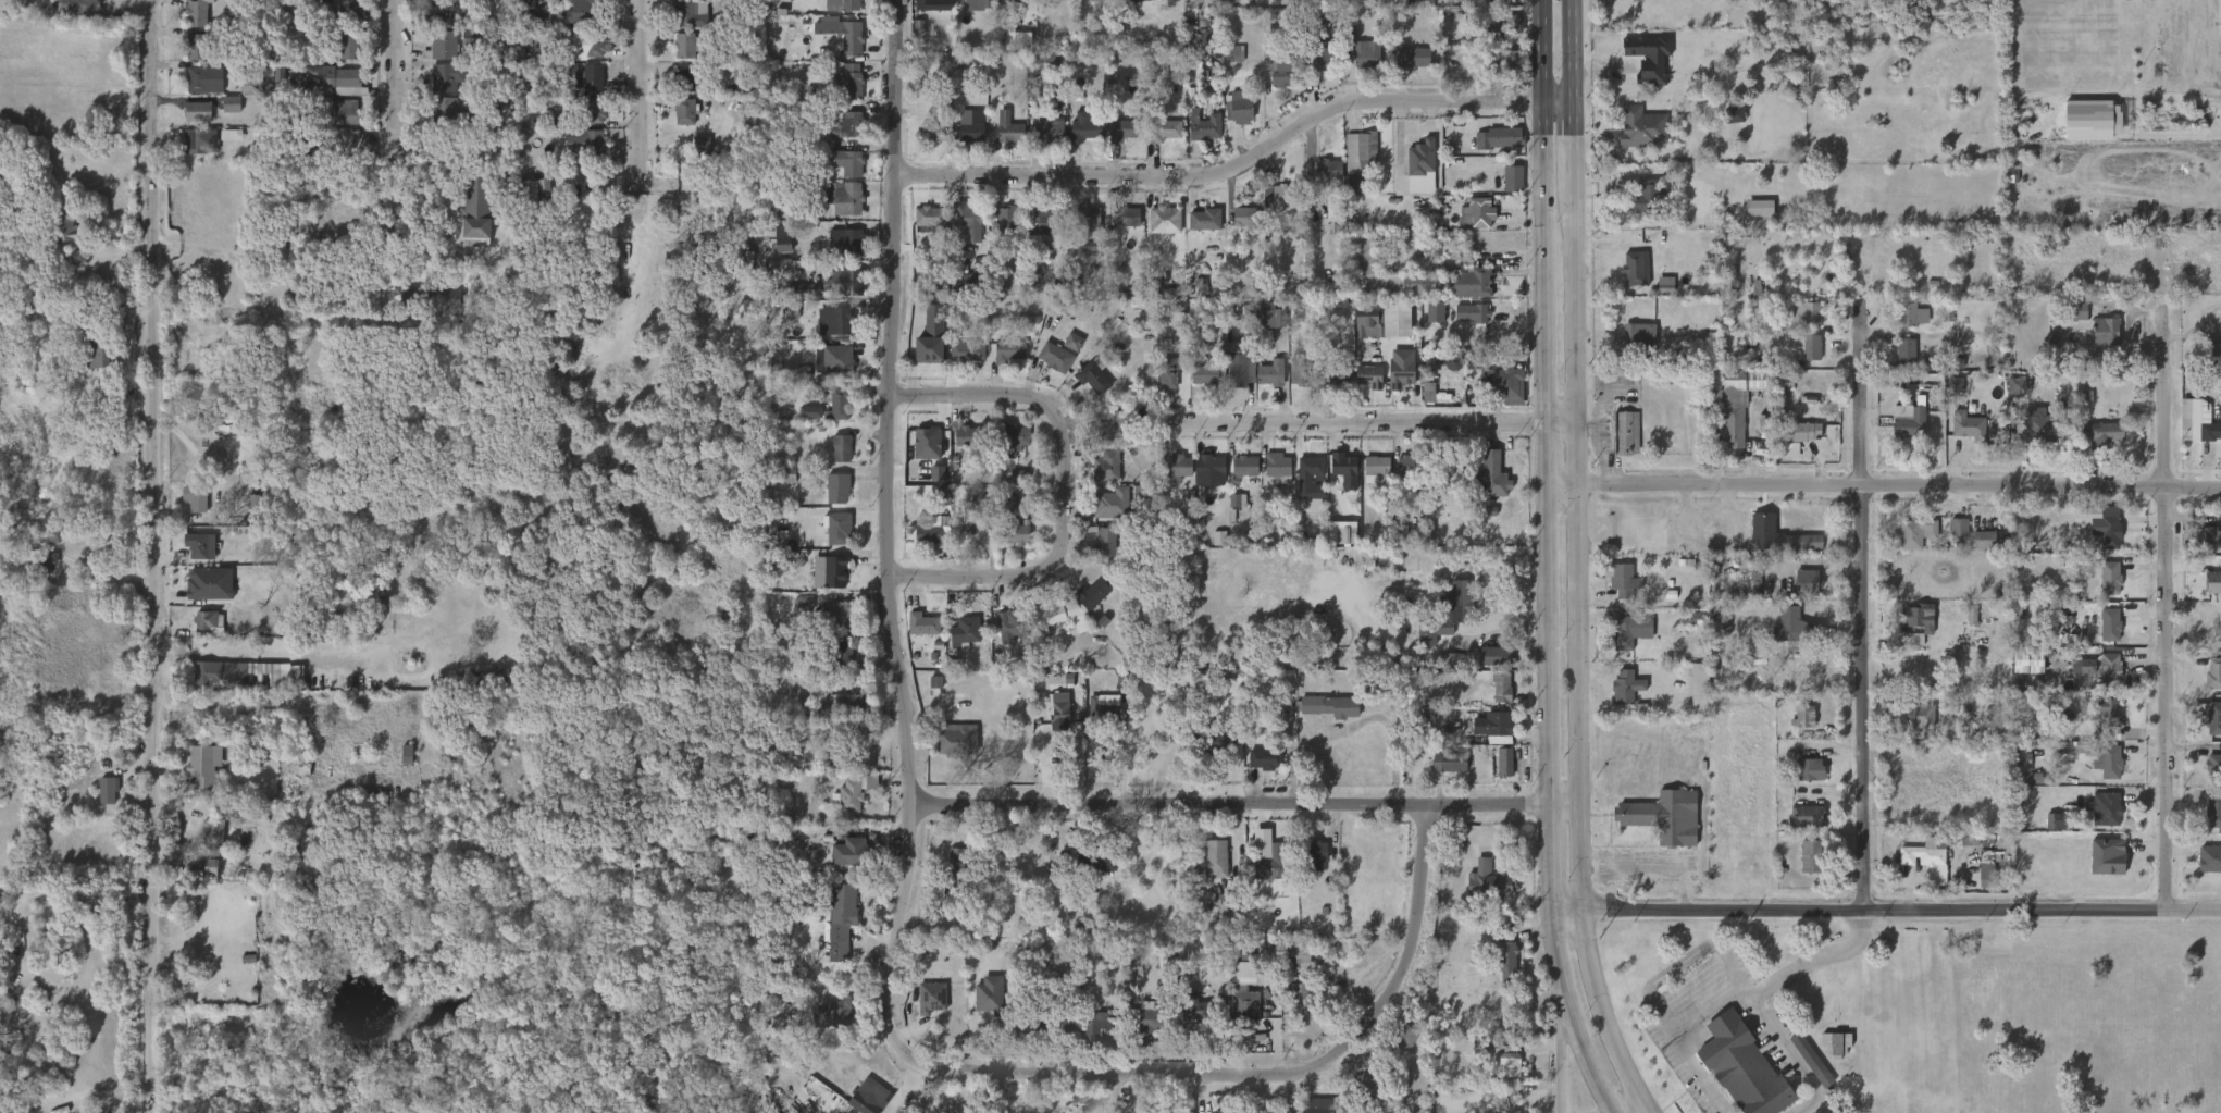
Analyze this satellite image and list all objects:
building: (459, 0)
building: (1138, 0)
building: (433, 2)
building: (1473, 2)
building: (978, 3)
building: (841, 4)
building: (1025, 4)
building: (935, 5)
building: (1094, 5)
building: (76, 8)
building: (724, 10)
building: (345, 11)
building: (587, 12)
building: (194, 13)
building: (690, 14)
building: (2218, 18)
building: (441, 22)
building: (683, 24)
building: (535, 26)
building: (556, 26)
building: (1504, 26)
building: (481, 37)
building: (851, 39)
building: (443, 44)
building: (592, 44)
building: (686, 44)
building: (350, 46)
building: (197, 47)
road: (2191, 50)
road: (1573, 51)
building: (1320, 54)
building: (679, 55)
building: (1367, 55)
building: (189, 58)
building: (343, 58)
building: (437, 58)
building: (591, 58)
building: (1410, 58)
building: (2219, 60)
building: (1507, 62)
building: (1230, 64)
road: (393, 65)
building: (1406, 67)
building: (1641, 67)
building: (1315, 71)
building: (1282, 72)
building: (586, 76)
building: (442, 77)
building: (692, 78)
building: (207, 79)
building: (339, 79)
building: (848, 79)
building: (274, 83)
building: (1275, 84)
building: (330, 88)
building: (679, 88)
building: (199, 90)
building: (843, 90)
road: (636, 91)
building: (1242, 108)
building: (596, 110)
building: (685, 110)
building: (346, 111)
building: (199, 112)
building: (442, 113)
building: (1234, 118)
building: (840, 119)
building: (587, 121)
building: (191, 122)
building: (679, 122)
building: (339, 123)
building: (1727, 125)
building: (1084, 127)
building: (1204, 127)
building: (1640, 127)
building: (1009, 129)
building: (1124, 129)
building: (1165, 131)
building: (931, 133)
building: (1050, 133)
building: (969, 134)
building: (1509, 136)
building: (1003, 139)
building: (1114, 140)
building: (1158, 140)
building: (201, 141)
building: (926, 141)
building: (965, 143)
building: (1043, 143)
building: (586, 145)
road: (1574, 147)
building: (1492, 148)
building: (194, 152)
building: (695, 156)
building: (1357, 158)
building: (846, 161)
road: (1244, 166)
building: (1420, 166)
building: (1327, 170)
building: (843, 173)
building: (1509, 175)
building: (1322, 181)
building: (395, 187)
building: (532, 190)
building: (1282, 194)
building: (847, 198)
building: (1645, 198)
building: (1274, 205)
building: (839, 208)
building: (474, 210)
building: (1479, 210)
building: (1120, 211)
building: (1087, 215)
building: (930, 217)
building: (1246, 217)
building: (1007, 218)
building: (1165, 218)
building: (1205, 218)
building: (1752, 218)
building: (1045, 220)
building: (965, 221)
building: (1472, 223)
building: (923, 225)
building: (1000, 227)
building: (1117, 227)
building: (1238, 227)
building: (61, 228)
building: (1158, 230)
building: (1199, 230)
building: (1039, 234)
road: (284, 239)
building: (845, 240)
building: (777, 248)
building: (1087, 248)
building: (839, 251)
building: (1362, 251)
building: (72, 268)
building: (1635, 268)
building: (845, 281)
building: (1473, 282)
building: (1658, 294)
building: (1414, 295)
building: (1195, 297)
building: (444, 298)
building: (794, 299)
building: (423, 306)
building: (1432, 312)
building: (1469, 312)
building: (1804, 314)
building: (1910, 316)
building: (843, 321)
building: (1367, 321)
building: (2071, 321)
building: (1428, 322)
building: (1464, 323)
building: (1261, 325)
building: (1904, 325)
building: (1391, 329)
building: (2105, 330)
building: (829, 332)
building: (1634, 341)
building: (2098, 342)
building: (925, 347)
building: (1806, 347)
building: (1008, 349)
building: (1903, 350)
building: (96, 351)
building: (966, 351)
building: (2213, 353)
building: (1800, 357)
building: (1059, 358)
building: (1003, 360)
building: (1898, 360)
building: (2206, 360)
building: (835, 361)
building: (960, 361)
building: (1049, 368)
building: (1238, 369)
building: (1402, 370)
building: (1167, 371)
building: (1302, 371)
building: (1435, 372)
building: (1204, 374)
building: (1270, 374)
building: (1336, 374)
building: (1369, 375)
building: (1093, 378)
building: (1746, 379)
building: (1231, 380)
building: (1161, 382)
building: (1264, 383)
building: (1292, 383)
building: (1393, 383)
building: (1507, 384)
building: (1198, 385)
building: (1365, 386)
building: (1087, 387)
building: (1330, 387)
building: (1750, 391)
building: (840, 401)
building: (830, 413)
road: (1377, 421)
building: (1907, 421)
building: (1113, 423)
building: (1732, 423)
building: (1968, 429)
building: (2035, 430)
building: (1628, 432)
building: (1802, 432)
building: (1100, 433)
building: (2209, 433)
building: (2099, 434)
building: (967, 436)
building: (1961, 436)
building: (925, 438)
building: (1012, 438)
building: (1798, 441)
building: (1617, 442)
building: (958, 446)
building: (841, 447)
building: (921, 449)
road: (1539, 456)
building: (834, 458)
building: (1277, 463)
building: (1212, 465)
building: (1244, 465)
building: (1343, 465)
building: (1407, 465)
building: (1106, 466)
building: (1177, 466)
building: (1375, 466)
building: (1308, 473)
building: (1270, 474)
building: (1205, 475)
building: (1492, 475)
building: (1239, 477)
building: (1400, 477)
building: (1171, 478)
building: (1370, 478)
building: (1339, 481)
building: (781, 484)
building: (836, 486)
road: (1879, 486)
building: (1012, 487)
road: (1065, 490)
building: (193, 498)
building: (832, 498)
building: (1110, 504)
building: (189, 508)
building: (1009, 512)
road: (886, 519)
building: (837, 528)
building: (930, 530)
building: (970, 530)
building: (2111, 531)
building: (1914, 532)
building: (1020, 533)
building: (2211, 534)
building: (1780, 536)
building: (1950, 537)
building: (1983, 540)
building: (832, 542)
building: (1335, 542)
building: (1106, 543)
building: (965, 544)
building: (199, 545)
building: (921, 545)
building: (1009, 545)
building: (1771, 546)
building: (2208, 547)
building: (1977, 549)
road: (1577, 552)
road: (162, 556)
building: (195, 556)
building: (41, 557)
building: (830, 570)
building: (40, 573)
building: (2109, 577)
building: (2212, 580)
building: (1807, 581)
building: (1622, 582)
building: (1799, 591)
building: (2209, 592)
building: (203, 593)
building: (1094, 594)
building: (1457, 599)
road: (2164, 604)
building: (315, 611)
building: (835, 614)
road: (1861, 616)
building: (1058, 618)
building: (1915, 621)
building: (208, 622)
building: (1721, 622)
building: (1013, 623)
building: (922, 624)
building: (2213, 624)
building: (1431, 626)
building: (1795, 626)
building: (2110, 626)
building: (1629, 628)
building: (963, 631)
building: (200, 633)
building: (917, 635)
building: (1002, 636)
building: (1784, 638)
building: (846, 651)
road: (252, 654)
building: (1500, 655)
building: (1448, 659)
building: (1490, 666)
building: (1795, 666)
building: (2109, 669)
building: (2213, 672)
building: (222, 673)
building: (271, 675)
building: (2094, 677)
building: (1791, 679)
building: (1499, 687)
building: (1626, 689)
building: (1494, 698)
building: (1692, 698)
building: (848, 703)
building: (1327, 705)
building: (1221, 708)
building: (1109, 709)
building: (841, 712)
building: (1059, 712)
building: (2108, 712)
building: (1995, 715)
building: (2210, 715)
building: (1325, 716)
building: (1801, 716)
building: (1916, 716)
building: (2101, 720)
building: (1491, 725)
building: (1796, 727)
building: (1910, 727)
building: (2208, 729)
building: (957, 740)
building: (450, 757)
building: (848, 757)
building: (1265, 759)
building: (1449, 762)
building: (1504, 762)
building: (2109, 762)
building: (400, 764)
building: (202, 765)
building: (2213, 766)
building: (1808, 769)
building: (2100, 770)
building: (1442, 771)
building: (1498, 771)
building: (1803, 779)
building: (104, 789)
building: (12, 790)
building: (857, 791)
road: (1244, 805)
building: (2106, 807)
building: (2213, 811)
building: (1809, 815)
building: (1664, 816)
building: (1800, 824)
building: (2048, 834)
building: (207, 849)
building: (854, 849)
building: (1313, 854)
building: (1922, 854)
building: (2109, 856)
building: (1812, 857)
building: (1214, 858)
building: (2209, 858)
building: (1100, 860)
building: (842, 862)
building: (1273, 863)
building: (1258, 866)
building: (1806, 867)
building: (1089, 871)
building: (958, 873)
building: (1489, 880)
building: (1978, 880)
road: (71, 900)
building: (779, 900)
building: (1227, 903)
road: (1901, 911)
building: (1283, 912)
road: (1566, 912)
building: (839, 920)
building: (1294, 949)
building: (1506, 957)
road: (1558, 967)
road: (1798, 969)
building: (1237, 982)
building: (932, 995)
building: (992, 998)
building: (1300, 999)
building: (1245, 1000)
building: (1198, 1006)
road: (1600, 1006)
building: (840, 1010)
building: (1239, 1015)
building: (1041, 1018)
building: (1101, 1018)
building: (1153, 1018)
building: (1183, 1022)
building: (827, 1023)
building: (1141, 1030)
building: (1088, 1034)
road: (1675, 1038)
road: (21, 1039)
building: (1401, 1039)
building: (1836, 1041)
building: (1829, 1053)
road: (1794, 1059)
building: (1810, 1060)
building: (1509, 1061)
road: (1561, 1065)
building: (1745, 1066)
road: (1589, 1067)
building: (1803, 1068)
building: (1501, 1073)
road: (1244, 1076)
building: (1364, 1081)
building: (873, 1090)
building: (865, 1102)
road: (1622, 1104)
road: (1645, 1104)
building: (1322, 1109)
building: (1219, 1111)
building: (1276, 1111)

